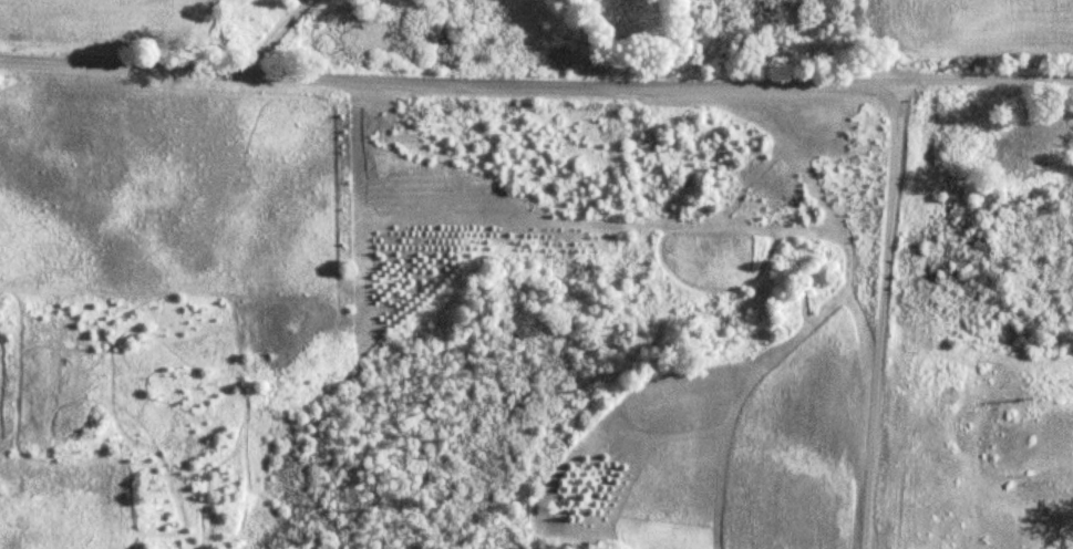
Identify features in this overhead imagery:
road: (536, 79)
road: (886, 313)

